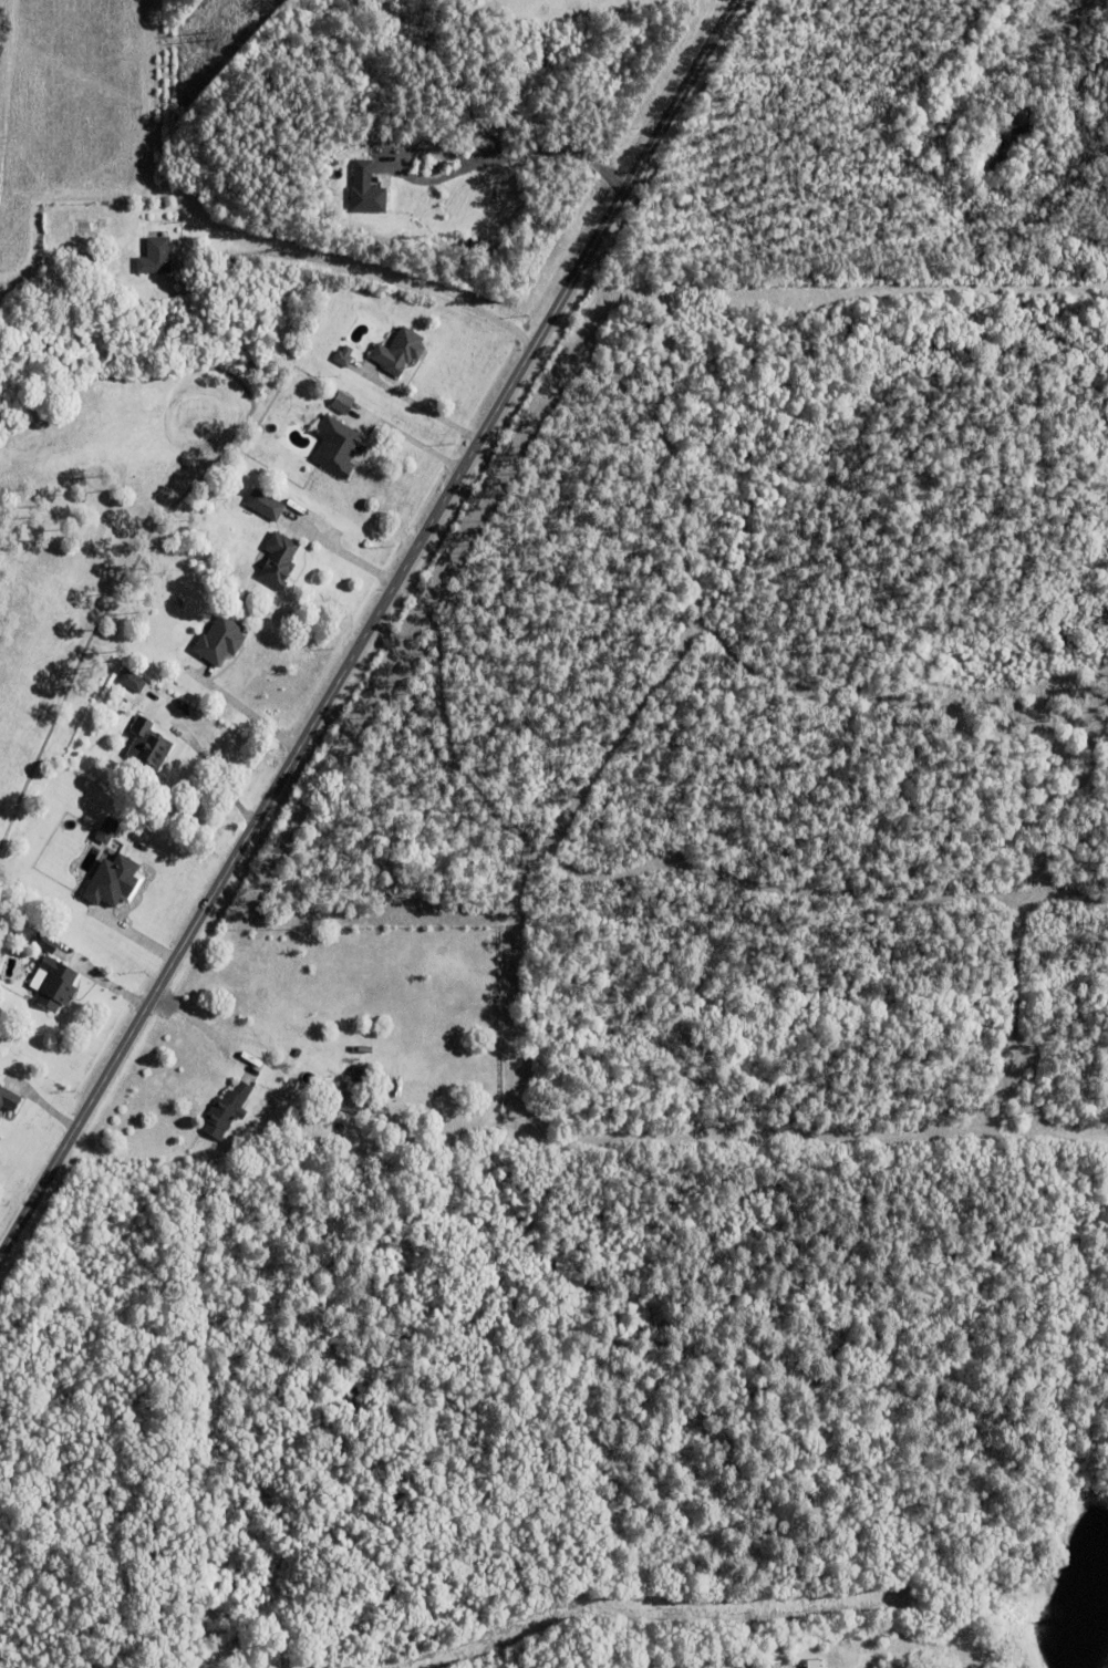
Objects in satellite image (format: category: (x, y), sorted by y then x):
road: (507, 159)
building: (365, 188)
building: (155, 257)
building: (83, 261)
road: (373, 279)
building: (398, 352)
building: (343, 356)
building: (341, 403)
building: (338, 447)
building: (265, 505)
park: (95, 532)
road: (349, 551)
building: (278, 561)
road: (367, 629)
building: (219, 641)
building: (132, 681)
building: (168, 696)
road: (248, 708)
building: (148, 746)
road: (209, 762)
building: (112, 879)
building: (45, 944)
building: (54, 985)
building: (277, 1079)
building: (351, 1097)
building: (8, 1102)
building: (227, 1111)
building: (342, 1117)
building: (0, 1121)
building: (963, 1634)
building: (996, 1637)
road: (907, 1659)
building: (997, 1661)
building: (810, 1662)
building: (777, 1664)

